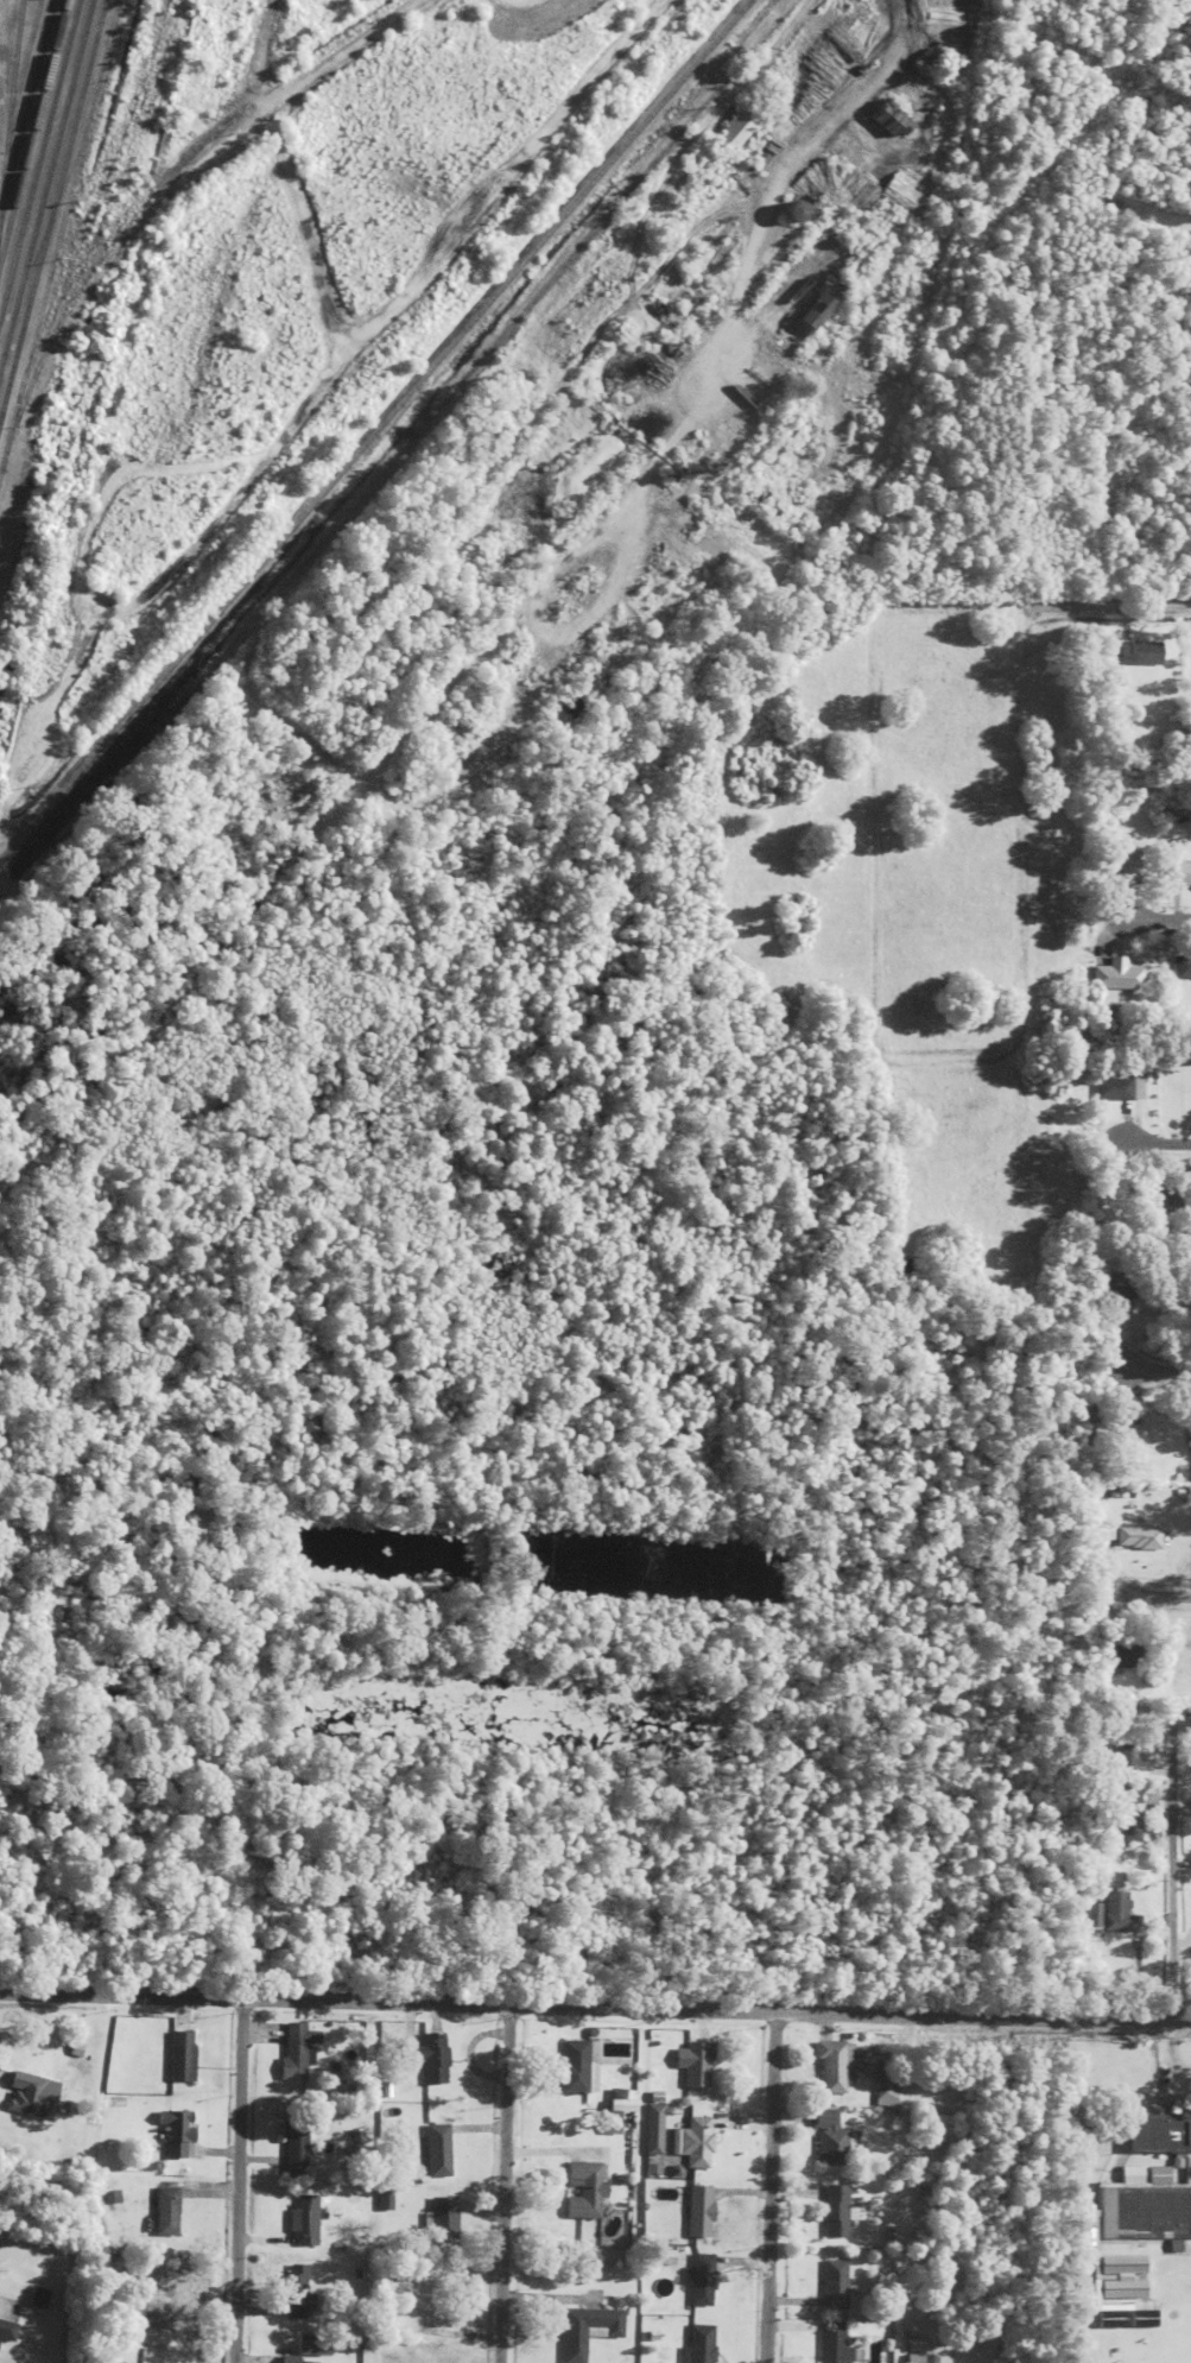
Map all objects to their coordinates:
railway: (20, 76)
railway: (9, 100)
railway: (25, 109)
railway: (31, 127)
railway: (38, 158)
road: (664, 168)
road: (226, 182)
railway: (44, 195)
railway: (52, 206)
railway: (58, 233)
railway: (374, 430)
road: (1127, 604)
road: (1154, 914)
road: (1159, 1141)
road: (1161, 1367)
road: (1159, 1594)
road: (1167, 1883)
road: (595, 2003)
road: (237, 2179)
road: (501, 2182)
road: (772, 2186)

